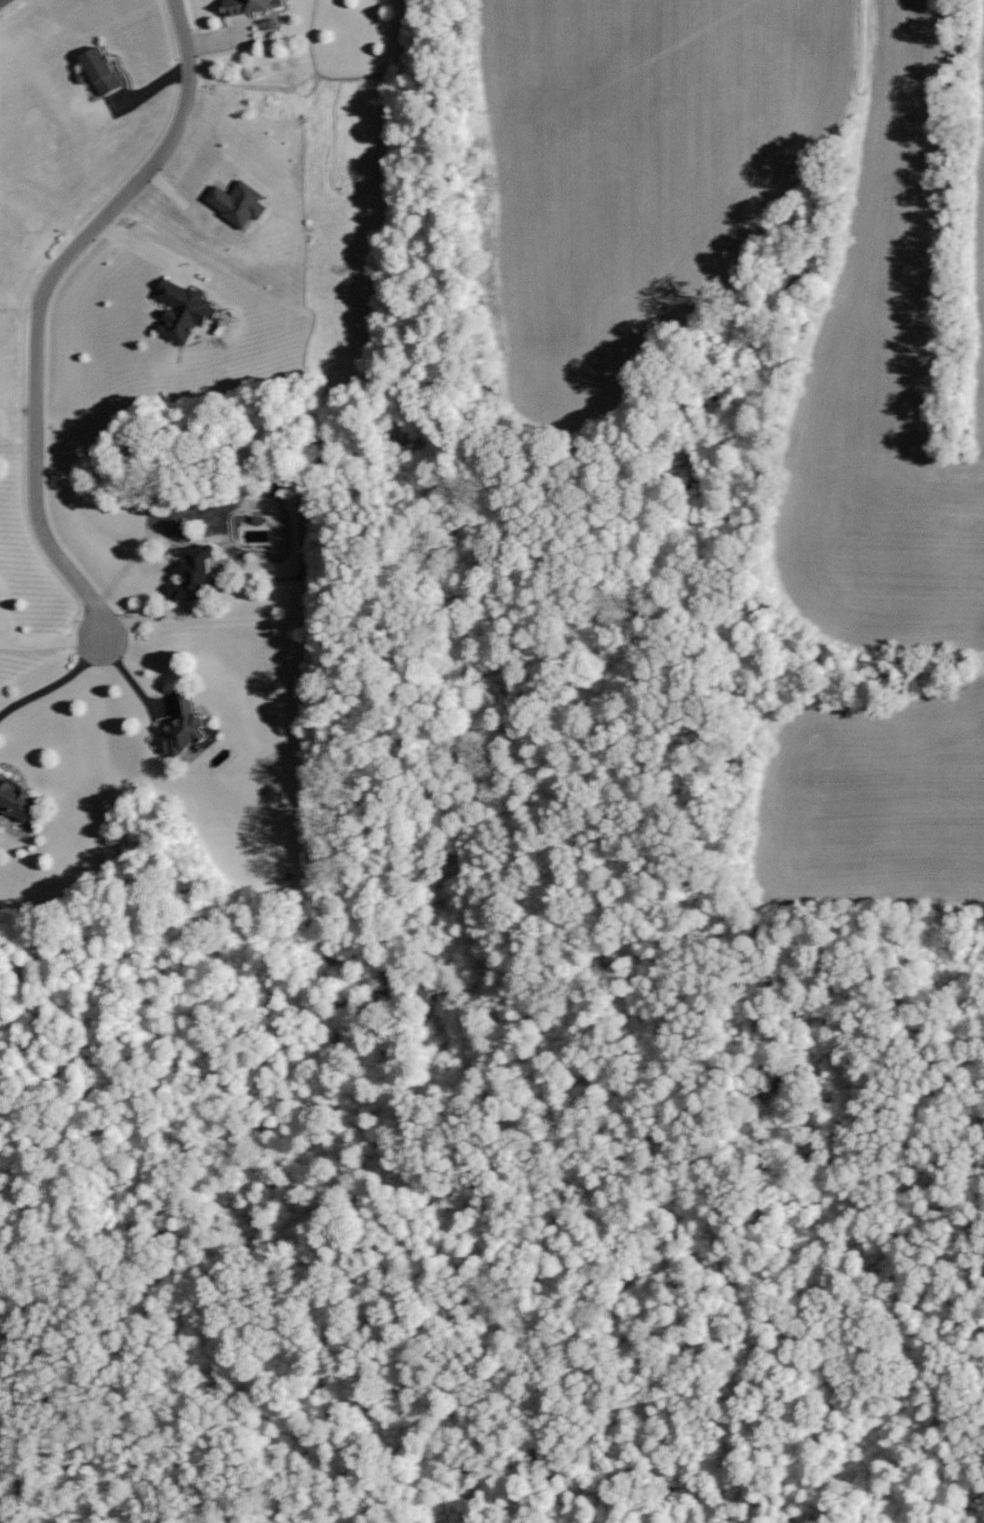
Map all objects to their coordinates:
road: (8, 4)
building: (103, 72)
building: (241, 203)
road: (38, 300)
building: (188, 312)
building: (187, 571)
building: (1, 596)
road: (49, 642)
road: (56, 682)
building: (10, 798)

